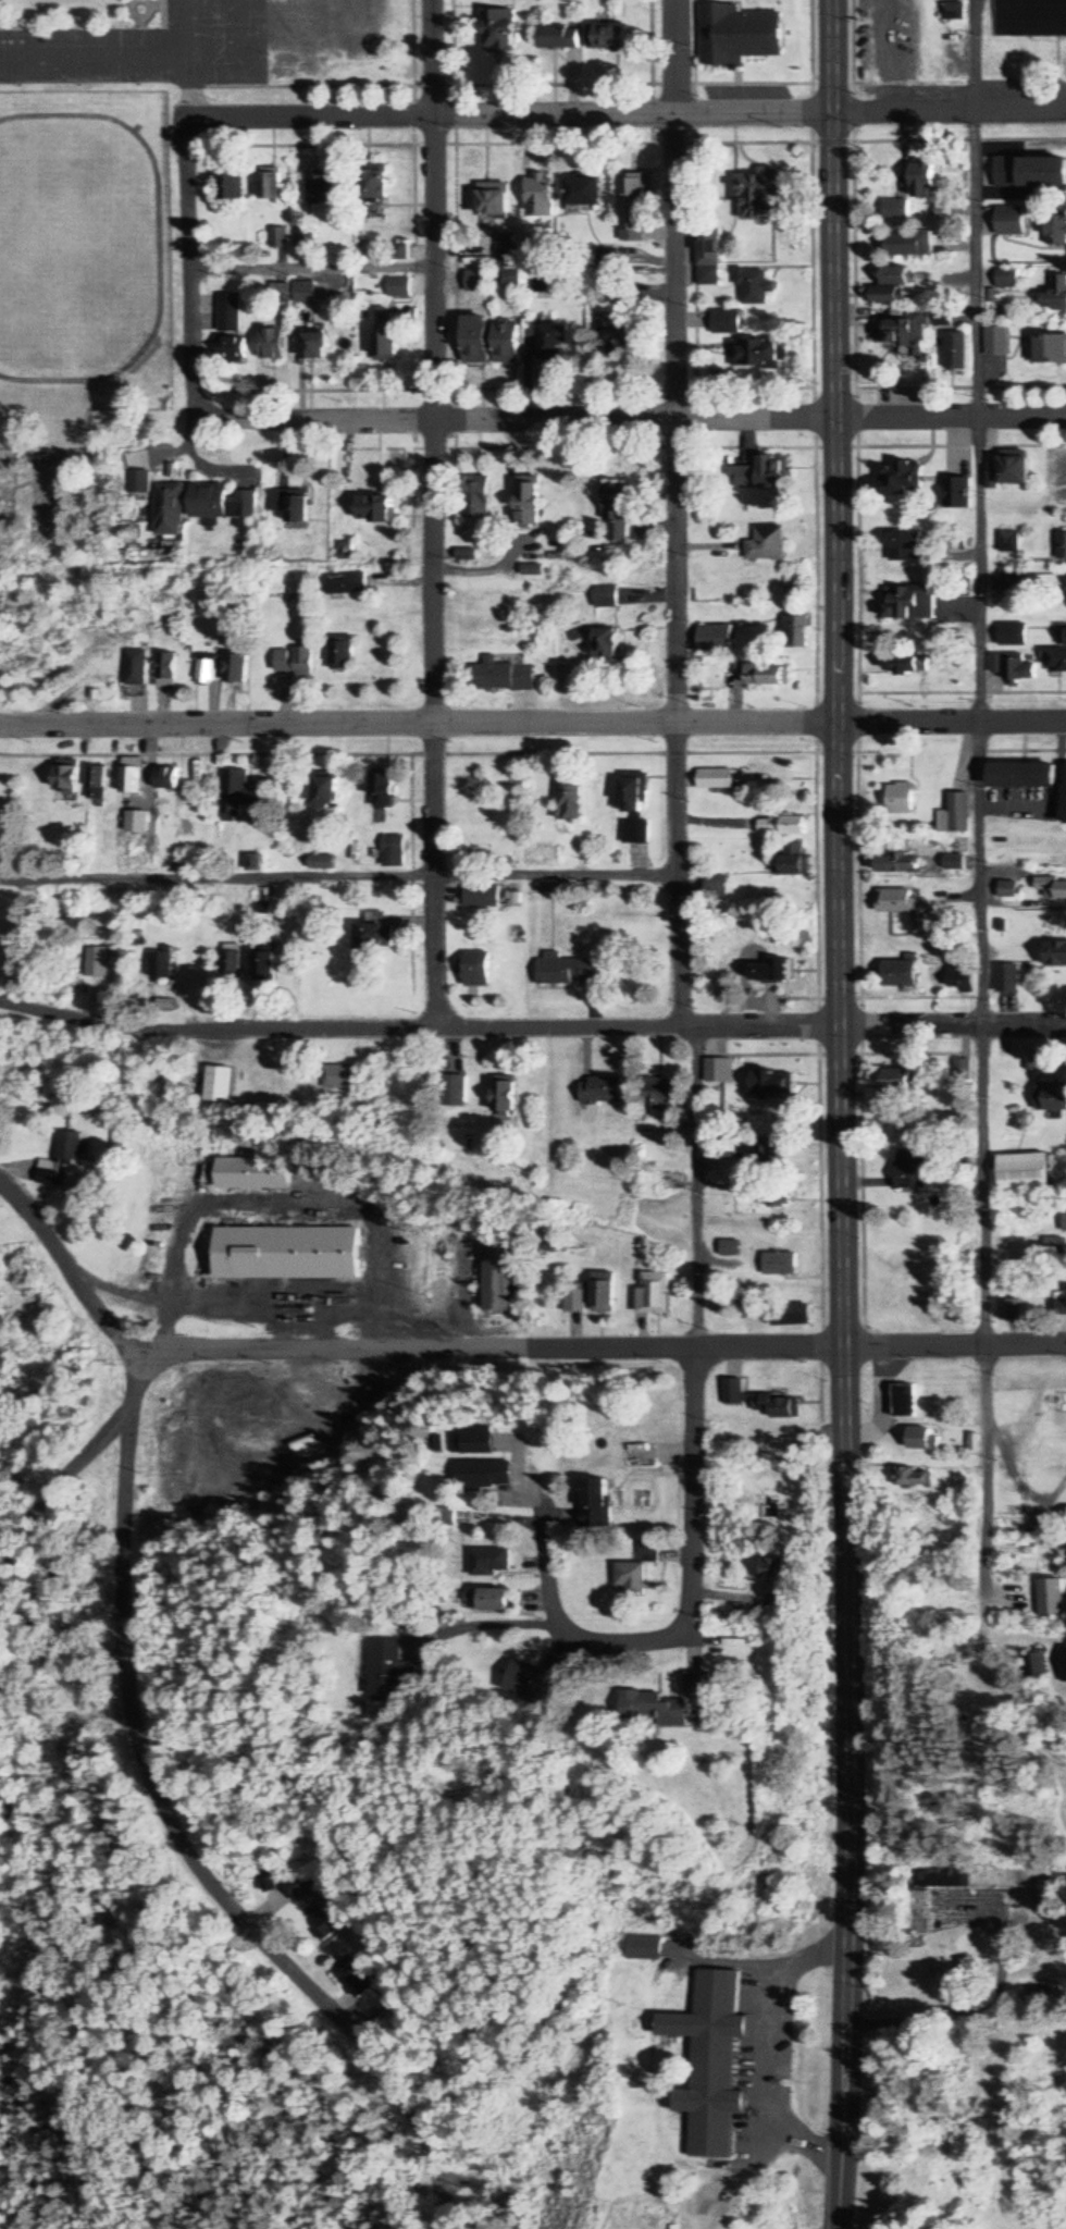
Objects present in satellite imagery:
building: (953, 12)
building: (1030, 19)
building: (500, 32)
building: (739, 36)
building: (558, 38)
building: (612, 38)
road: (624, 116)
building: (1007, 173)
building: (1044, 174)
building: (925, 182)
building: (228, 184)
building: (270, 187)
building: (374, 187)
building: (319, 188)
building: (584, 193)
building: (760, 195)
building: (540, 197)
building: (489, 201)
building: (633, 202)
building: (897, 210)
building: (1013, 222)
building: (1057, 232)
track: (156, 234)
building: (276, 238)
building: (301, 238)
building: (916, 245)
building: (708, 263)
road: (185, 269)
building: (897, 278)
building: (1009, 280)
building: (475, 281)
building: (545, 283)
building: (755, 286)
building: (397, 287)
building: (301, 293)
building: (1057, 296)
building: (727, 322)
building: (226, 331)
building: (909, 334)
building: (615, 336)
building: (383, 337)
building: (475, 341)
building: (555, 342)
building: (507, 343)
building: (999, 343)
building: (269, 345)
building: (312, 347)
building: (1049, 350)
building: (958, 352)
building: (758, 355)
road: (627, 420)
building: (1015, 472)
building: (758, 476)
building: (904, 480)
building: (959, 494)
building: (479, 497)
building: (223, 504)
building: (292, 505)
building: (530, 505)
building: (171, 510)
building: (377, 510)
road: (434, 514)
building: (618, 514)
building: (1009, 541)
building: (1062, 544)
building: (767, 545)
building: (905, 545)
building: (469, 555)
building: (1007, 579)
building: (347, 584)
building: (1065, 595)
building: (607, 596)
building: (909, 602)
building: (796, 631)
building: (1012, 635)
building: (1062, 637)
building: (717, 638)
building: (608, 645)
building: (343, 653)
building: (295, 660)
building: (1057, 661)
building: (905, 663)
building: (1013, 667)
building: (236, 669)
building: (166, 672)
building: (206, 672)
building: (137, 674)
building: (504, 675)
building: (768, 675)
road: (533, 723)
building: (1025, 775)
building: (67, 777)
building: (168, 778)
building: (134, 779)
building: (717, 779)
building: (98, 783)
building: (384, 790)
building: (327, 791)
building: (238, 795)
building: (572, 798)
building: (903, 799)
building: (636, 806)
building: (958, 814)
road: (677, 820)
building: (783, 826)
building: (395, 851)
building: (796, 860)
building: (956, 862)
building: (900, 863)
building: (1053, 887)
building: (1009, 889)
building: (483, 896)
building: (896, 901)
building: (376, 931)
building: (1056, 953)
building: (231, 961)
building: (264, 962)
building: (95, 963)
building: (161, 965)
building: (478, 969)
building: (569, 971)
building: (770, 971)
building: (900, 974)
building: (1008, 978)
building: (962, 983)
road: (967, 1009)
road: (839, 1024)
road: (531, 1029)
building: (717, 1071)
building: (339, 1075)
building: (901, 1080)
building: (770, 1084)
building: (220, 1085)
building: (455, 1089)
building: (603, 1091)
building: (505, 1095)
building: (660, 1095)
building: (1052, 1097)
building: (67, 1145)
building: (184, 1150)
building: (912, 1169)
building: (1026, 1171)
building: (49, 1173)
building: (251, 1173)
building: (672, 1181)
building: (768, 1195)
building: (1064, 1221)
building: (729, 1248)
building: (285, 1253)
road: (70, 1263)
building: (778, 1265)
building: (498, 1274)
building: (603, 1293)
building: (653, 1293)
building: (574, 1298)
building: (748, 1307)
building: (1059, 1308)
building: (1009, 1309)
building: (788, 1315)
road: (602, 1351)
building: (758, 1401)
building: (903, 1401)
building: (474, 1440)
building: (920, 1440)
building: (299, 1443)
building: (768, 1445)
building: (484, 1474)
road: (53, 1483)
building: (595, 1502)
building: (1016, 1516)
building: (648, 1551)
building: (1063, 1552)
building: (491, 1562)
building: (774, 1569)
building: (632, 1577)
road: (553, 1578)
building: (1051, 1598)
building: (487, 1600)
road: (624, 1637)
building: (1064, 1659)
building: (1034, 1667)
building: (396, 1672)
building: (538, 1680)
building: (699, 1684)
building: (653, 1709)
road: (172, 1832)
building: (297, 1887)
building: (326, 1921)
building: (644, 1948)
building: (352, 1976)
building: (714, 2064)
road: (839, 2139)
building: (516, 2219)

